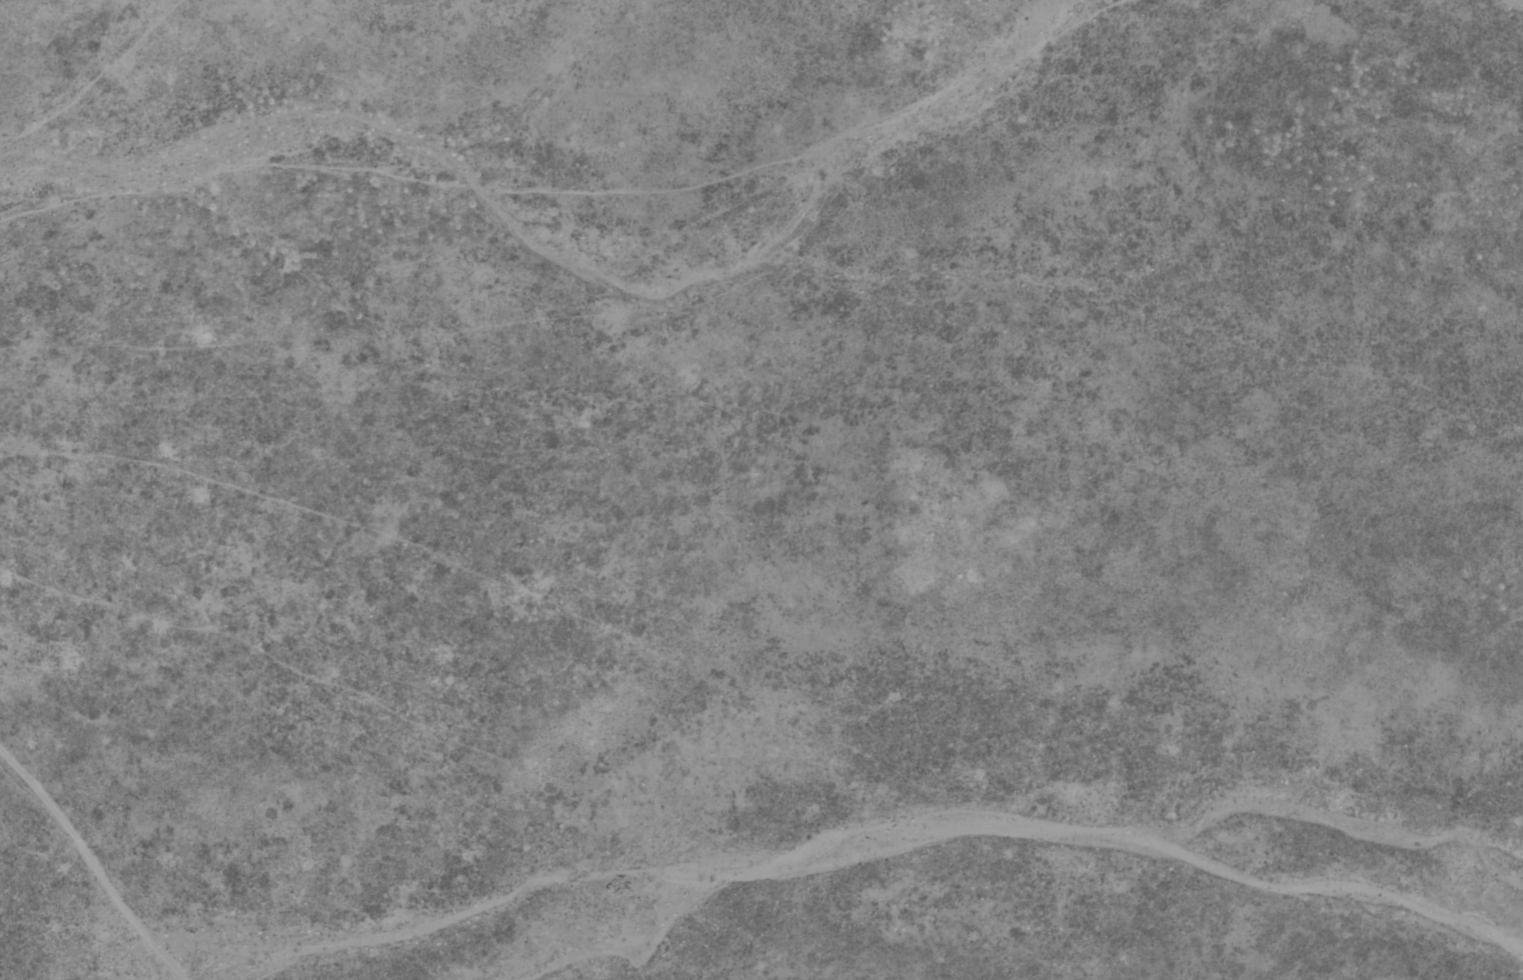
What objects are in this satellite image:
road: (90, 857)

